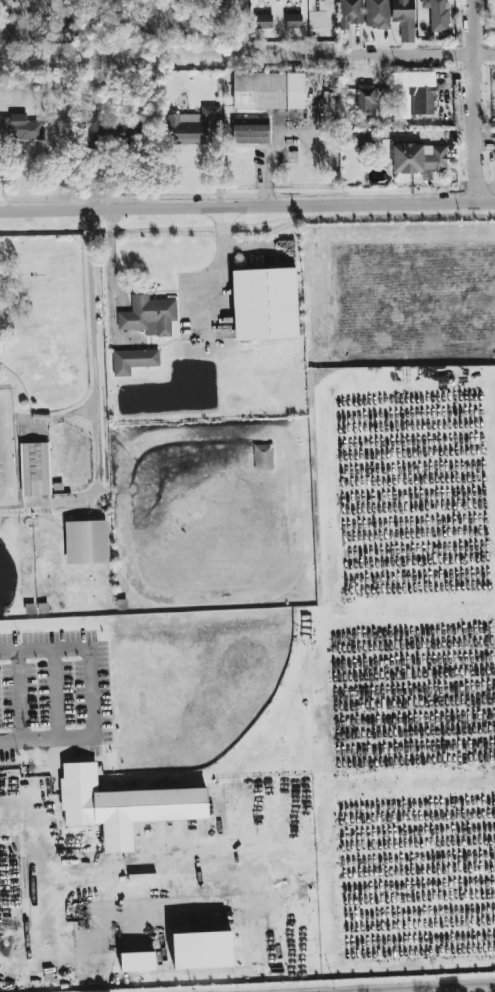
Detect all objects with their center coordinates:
building: (349, 13)
building: (402, 13)
building: (376, 14)
building: (438, 16)
building: (263, 21)
building: (293, 21)
building: (7, 38)
road: (247, 55)
building: (268, 91)
building: (412, 94)
building: (365, 99)
road: (475, 100)
building: (190, 126)
building: (19, 128)
building: (100, 128)
building: (250, 134)
building: (360, 138)
building: (419, 158)
road: (247, 205)
road: (253, 244)
road: (108, 256)
road: (215, 264)
building: (264, 304)
building: (148, 316)
building: (133, 361)
road: (98, 371)
road: (64, 420)
building: (262, 457)
building: (34, 469)
building: (86, 543)
road: (90, 697)
building: (123, 808)
road: (36, 828)
road: (492, 991)

